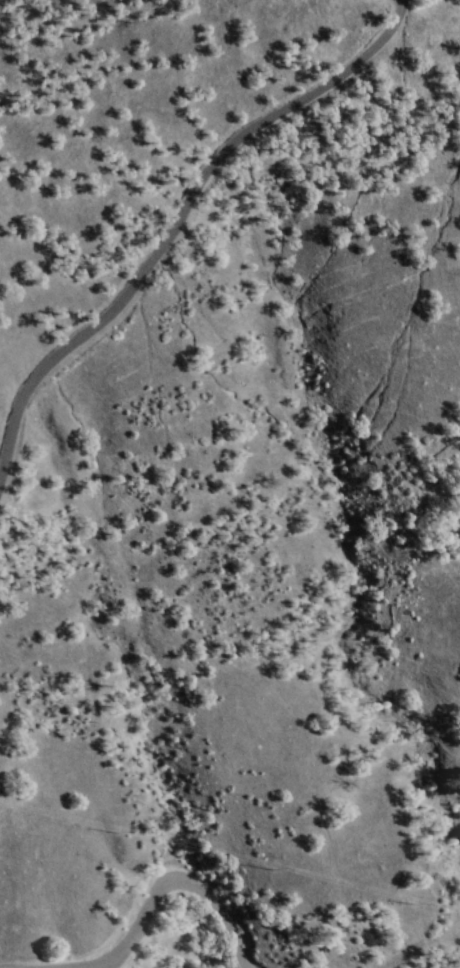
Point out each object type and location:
road: (181, 207)
road: (165, 870)

